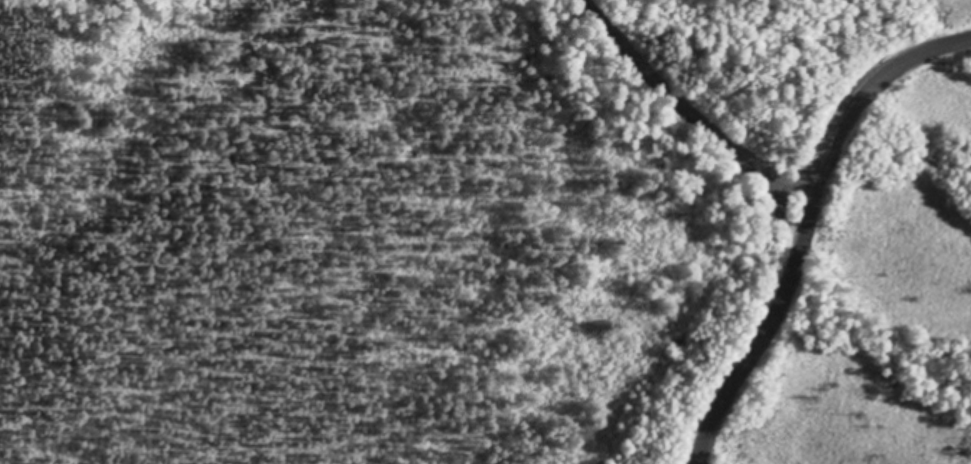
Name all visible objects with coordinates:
road: (740, 67)
road: (804, 210)

